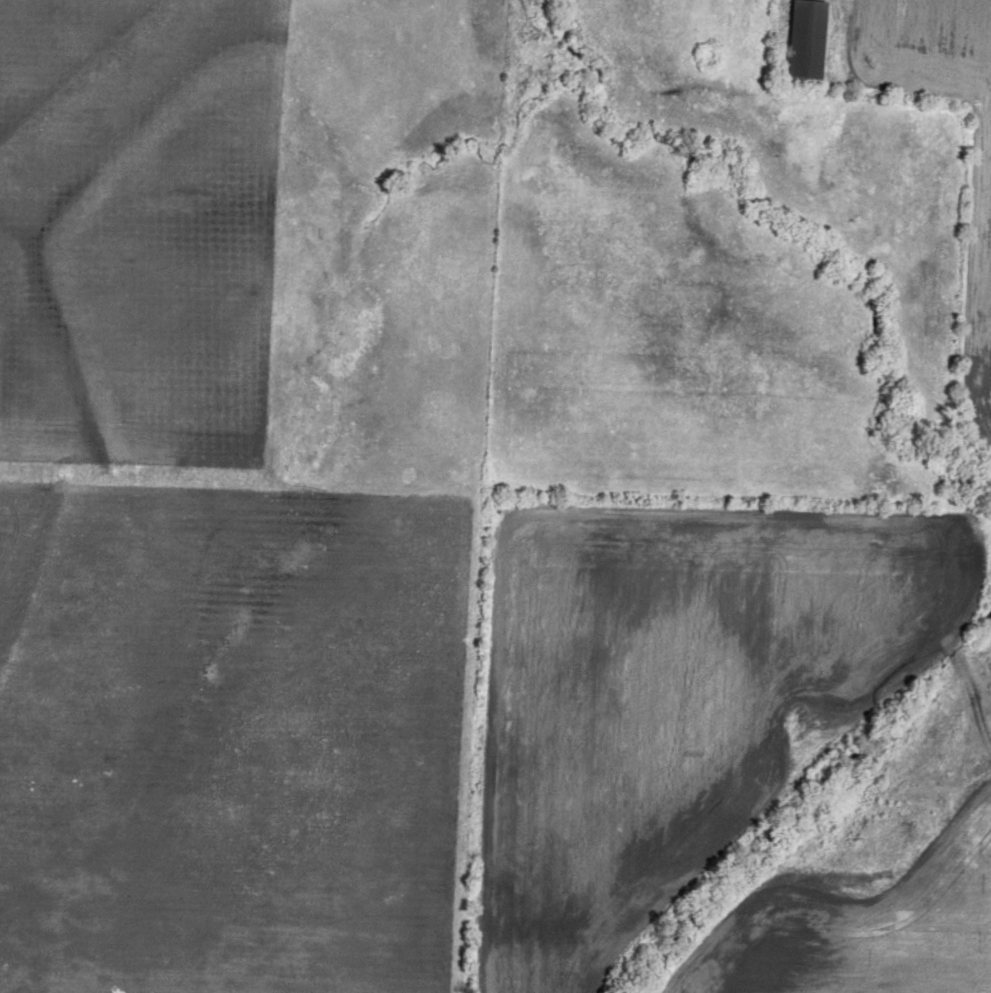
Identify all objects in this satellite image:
building: (802, 37)

